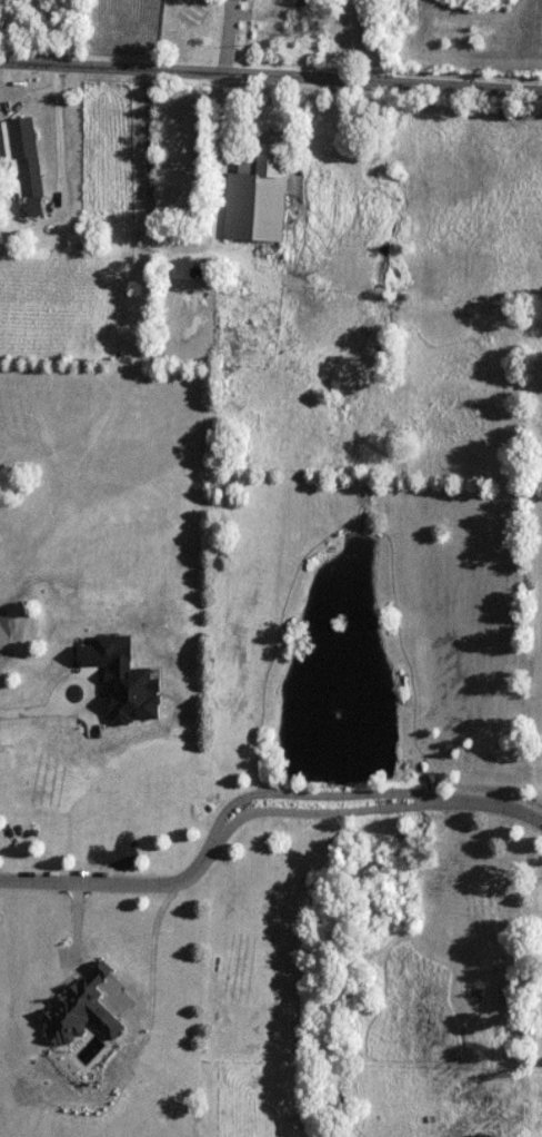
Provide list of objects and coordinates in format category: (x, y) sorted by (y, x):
road: (270, 80)
road: (62, 154)
building: (28, 167)
building: (258, 196)
road: (219, 246)
road: (82, 681)
road: (28, 711)
road: (254, 801)

